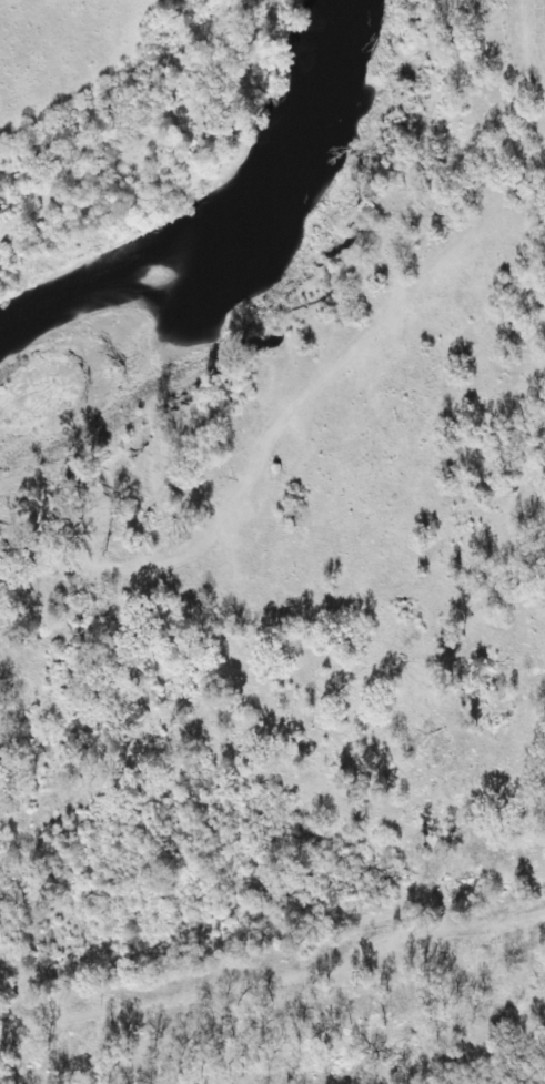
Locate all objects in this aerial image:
river: (222, 223)

